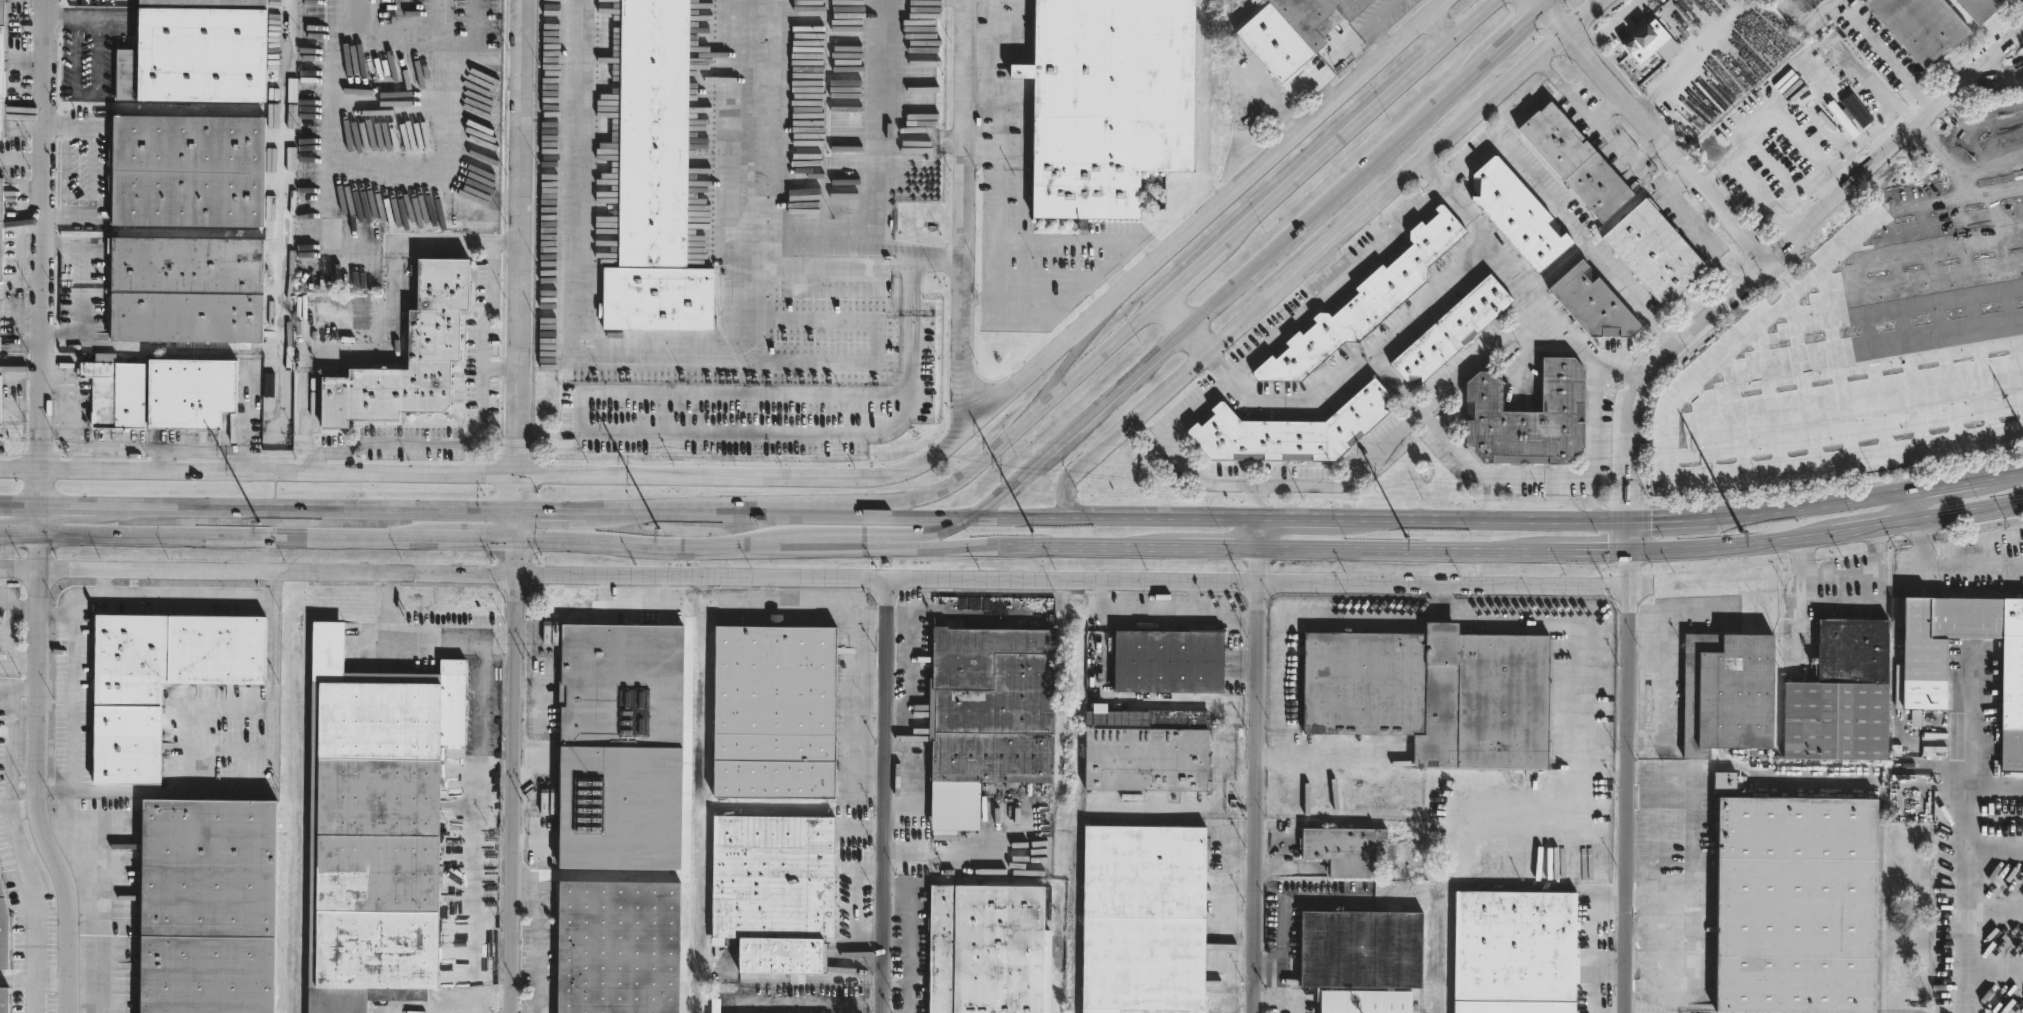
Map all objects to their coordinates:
building: (1767, 0)
building: (1769, 0)
road: (1790, 1)
road: (1535, 5)
road: (1545, 5)
building: (1980, 8)
road: (87, 14)
road: (1375, 21)
building: (1921, 27)
road: (1570, 29)
road: (401, 30)
building: (1292, 32)
road: (1514, 33)
road: (978, 40)
building: (195, 52)
building: (2, 68)
road: (85, 92)
road: (982, 95)
building: (1106, 102)
road: (1575, 104)
road: (998, 118)
road: (1981, 120)
road: (875, 123)
road: (1355, 125)
road: (68, 126)
road: (1655, 137)
road: (1951, 152)
road: (1988, 158)
building: (1575, 163)
road: (396, 167)
road: (64, 170)
road: (91, 171)
building: (183, 172)
building: (656, 179)
road: (1431, 195)
road: (1374, 207)
road: (964, 214)
building: (1514, 214)
road: (68, 215)
road: (726, 216)
building: (1, 224)
road: (1690, 231)
road: (443, 241)
road: (1168, 244)
road: (1126, 253)
building: (1655, 253)
road: (44, 254)
road: (519, 255)
road: (756, 256)
road: (938, 258)
road: (1769, 264)
road: (996, 268)
road: (1189, 274)
road: (1791, 285)
building: (183, 287)
road: (1231, 289)
road: (980, 297)
road: (1543, 302)
building: (1593, 302)
building: (1365, 303)
road: (1175, 313)
building: (0, 325)
building: (1452, 331)
road: (1393, 332)
road: (1199, 340)
road: (358, 354)
building: (409, 356)
road: (610, 357)
road: (499, 369)
road: (1396, 381)
building: (162, 390)
road: (1667, 393)
building: (1, 396)
building: (1528, 416)
road: (480, 419)
building: (1290, 430)
road: (1117, 431)
road: (1455, 444)
road: (990, 452)
road: (1368, 457)
road: (367, 469)
road: (1599, 470)
road: (2010, 471)
road: (809, 475)
road: (1951, 482)
road: (1818, 504)
road: (1909, 505)
road: (20, 507)
road: (79, 508)
road: (317, 510)
road: (1968, 511)
traffic signals: (517, 512)
road: (552, 512)
road: (681, 512)
road: (871, 515)
traffic signals: (969, 517)
road: (1026, 517)
road: (1152, 517)
road: (1240, 518)
road: (1303, 518)
road: (1680, 518)
road: (1488, 519)
road: (40, 520)
traffic signals: (1630, 520)
power tower: (259, 522)
road: (517, 525)
road: (1876, 527)
power tower: (659, 529)
power tower: (1032, 531)
power tower: (1743, 531)
road: (20, 532)
road: (1259, 533)
road: (235, 535)
road: (909, 535)
power tower: (1407, 535)
road: (473, 537)
traffic signals: (518, 538)
road: (654, 544)
road: (819, 545)
road: (941, 546)
road: (1735, 546)
road: (1110, 548)
road: (1222, 549)
road: (1407, 550)
road: (1592, 551)
traffic signals: (1630, 551)
road: (1951, 568)
road: (444, 576)
road: (107, 582)
road: (1801, 582)
road: (1260, 584)
road: (79, 596)
road: (1104, 598)
road: (1191, 598)
road: (20, 604)
road: (632, 606)
road: (57, 612)
road: (1149, 614)
road: (1369, 620)
road: (426, 638)
road: (1234, 647)
building: (1167, 660)
road: (19, 663)
building: (161, 680)
building: (1919, 686)
road: (19, 687)
road: (1665, 688)
road: (1582, 689)
road: (529, 692)
building: (1727, 692)
building: (1433, 693)
building: (1842, 695)
road: (543, 697)
building: (771, 710)
building: (987, 716)
building: (617, 745)
building: (1142, 749)
road: (1325, 757)
road: (38, 774)
road: (515, 775)
road: (1255, 780)
road: (1626, 781)
building: (1727, 781)
road: (263, 793)
road: (885, 796)
road: (20, 808)
building: (371, 822)
road: (1676, 837)
road: (21, 849)
building: (1343, 849)
road: (1966, 876)
building: (773, 891)
road: (859, 904)
building: (1797, 904)
building: (207, 906)
road: (1290, 912)
building: (1142, 919)
building: (5, 927)
road: (535, 940)
road: (913, 941)
building: (615, 947)
building: (984, 949)
road: (1676, 950)
building: (1368, 951)
building: (1515, 952)
road: (1651, 963)
road: (17, 978)
road: (808, 998)
road: (1280, 998)
building: (4, 1000)
building: (1371, 1004)
building: (716, 1005)

